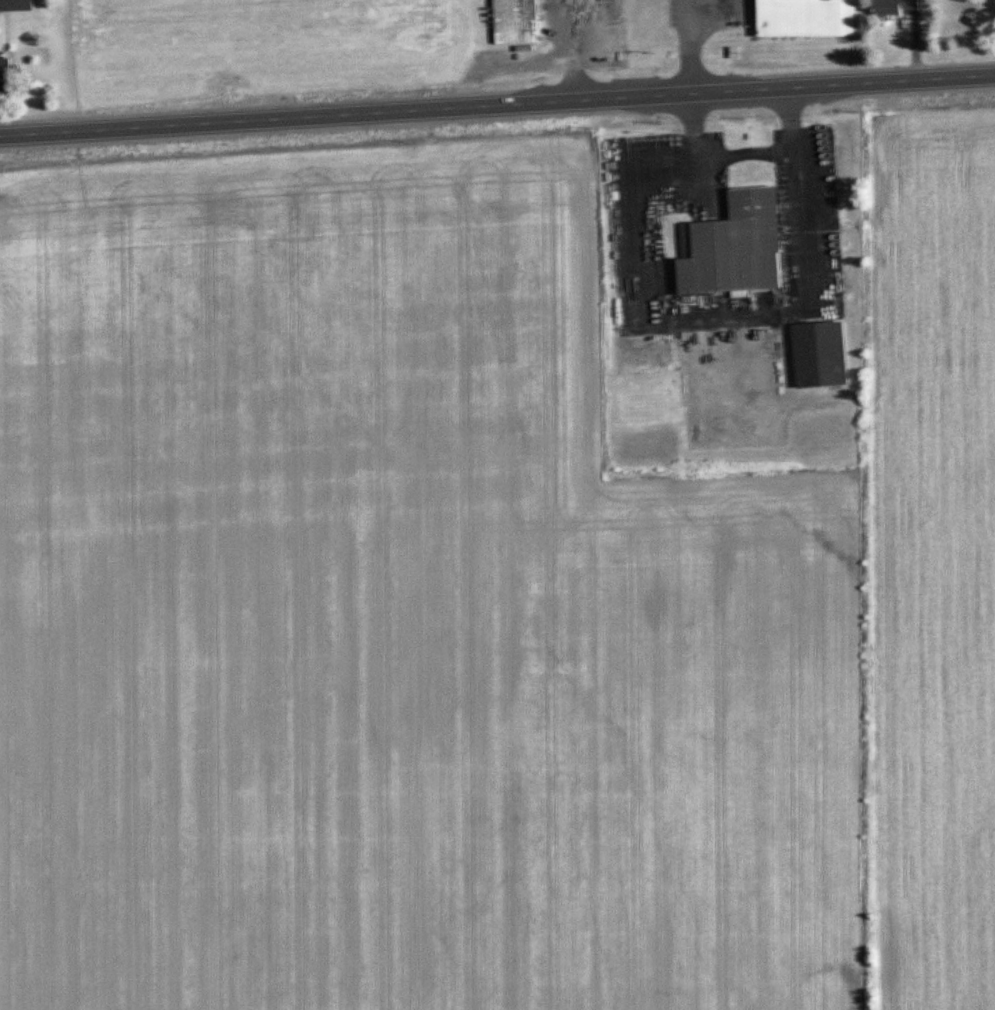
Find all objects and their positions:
building: (18, 6)
building: (898, 8)
building: (809, 19)
building: (517, 22)
building: (5, 72)
road: (497, 105)
building: (737, 248)
road: (689, 306)
building: (823, 357)

